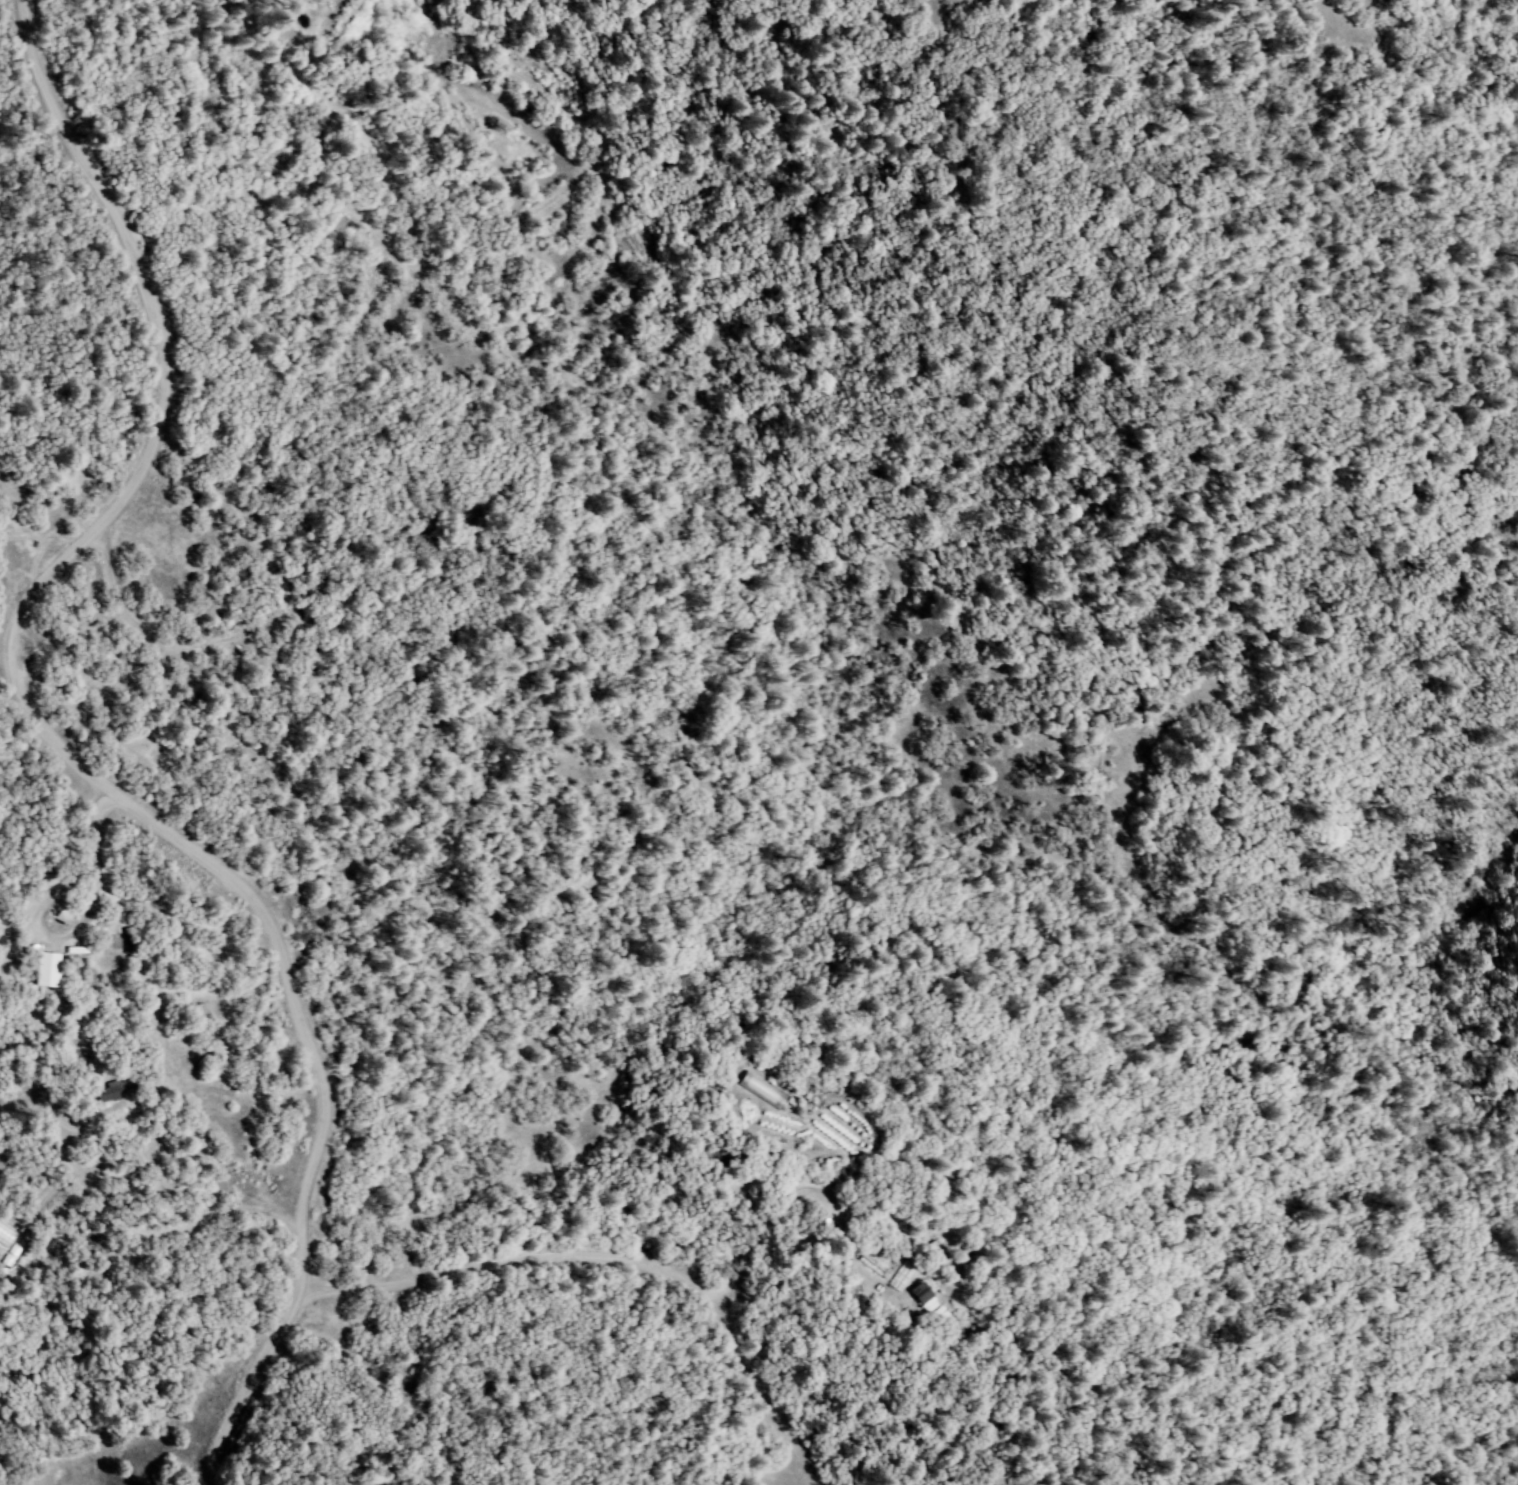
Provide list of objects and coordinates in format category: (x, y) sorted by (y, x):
road: (64, 760)
building: (45, 969)
building: (760, 1090)
building: (6, 1235)
road: (613, 1265)
building: (920, 1293)

